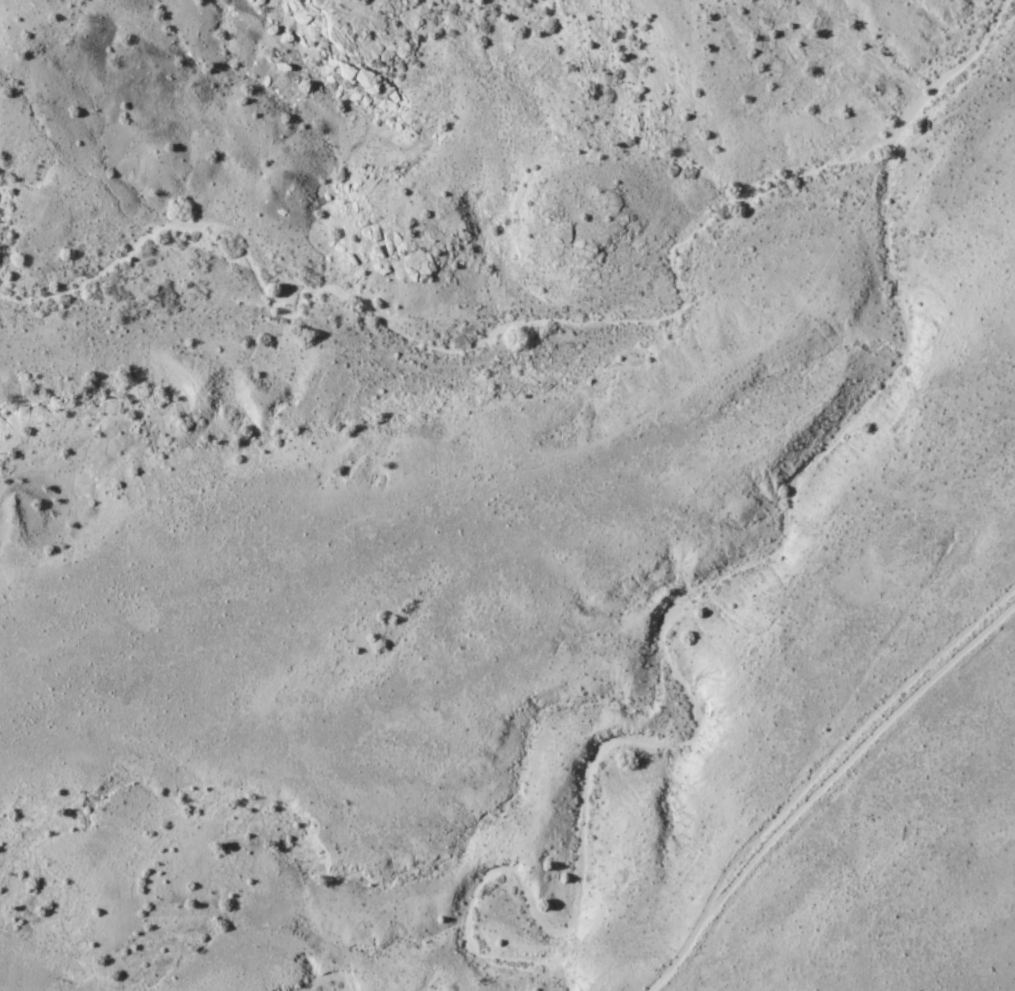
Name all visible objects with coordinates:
road: (822, 785)

